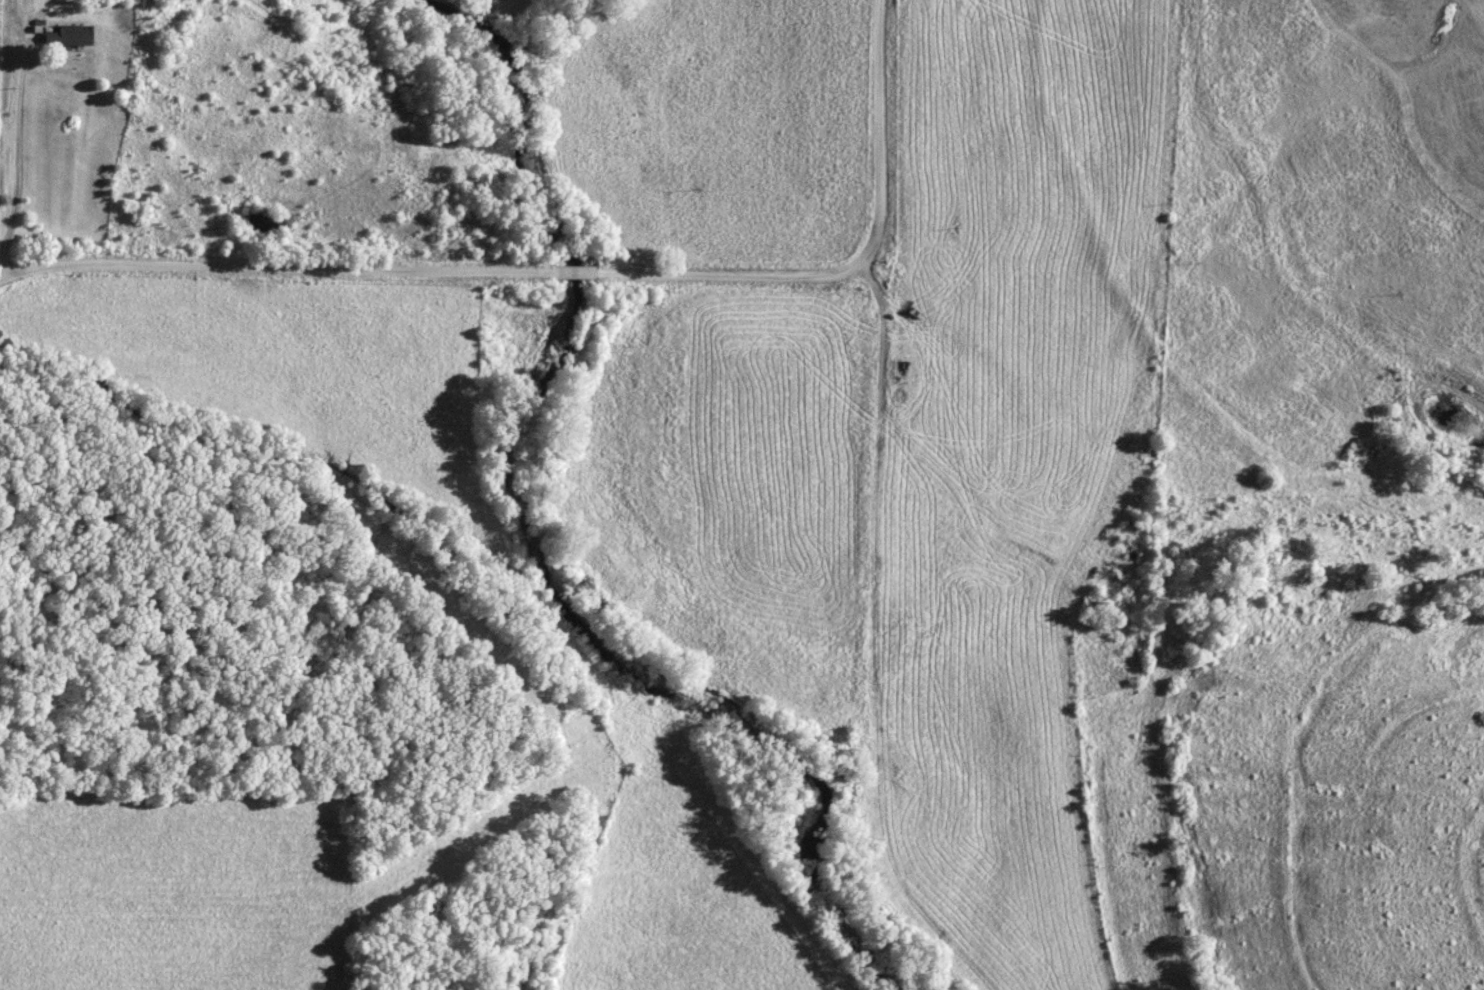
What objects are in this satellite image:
building: (65, 35)
road: (16, 153)
road: (859, 263)
road: (273, 267)
road: (572, 273)

